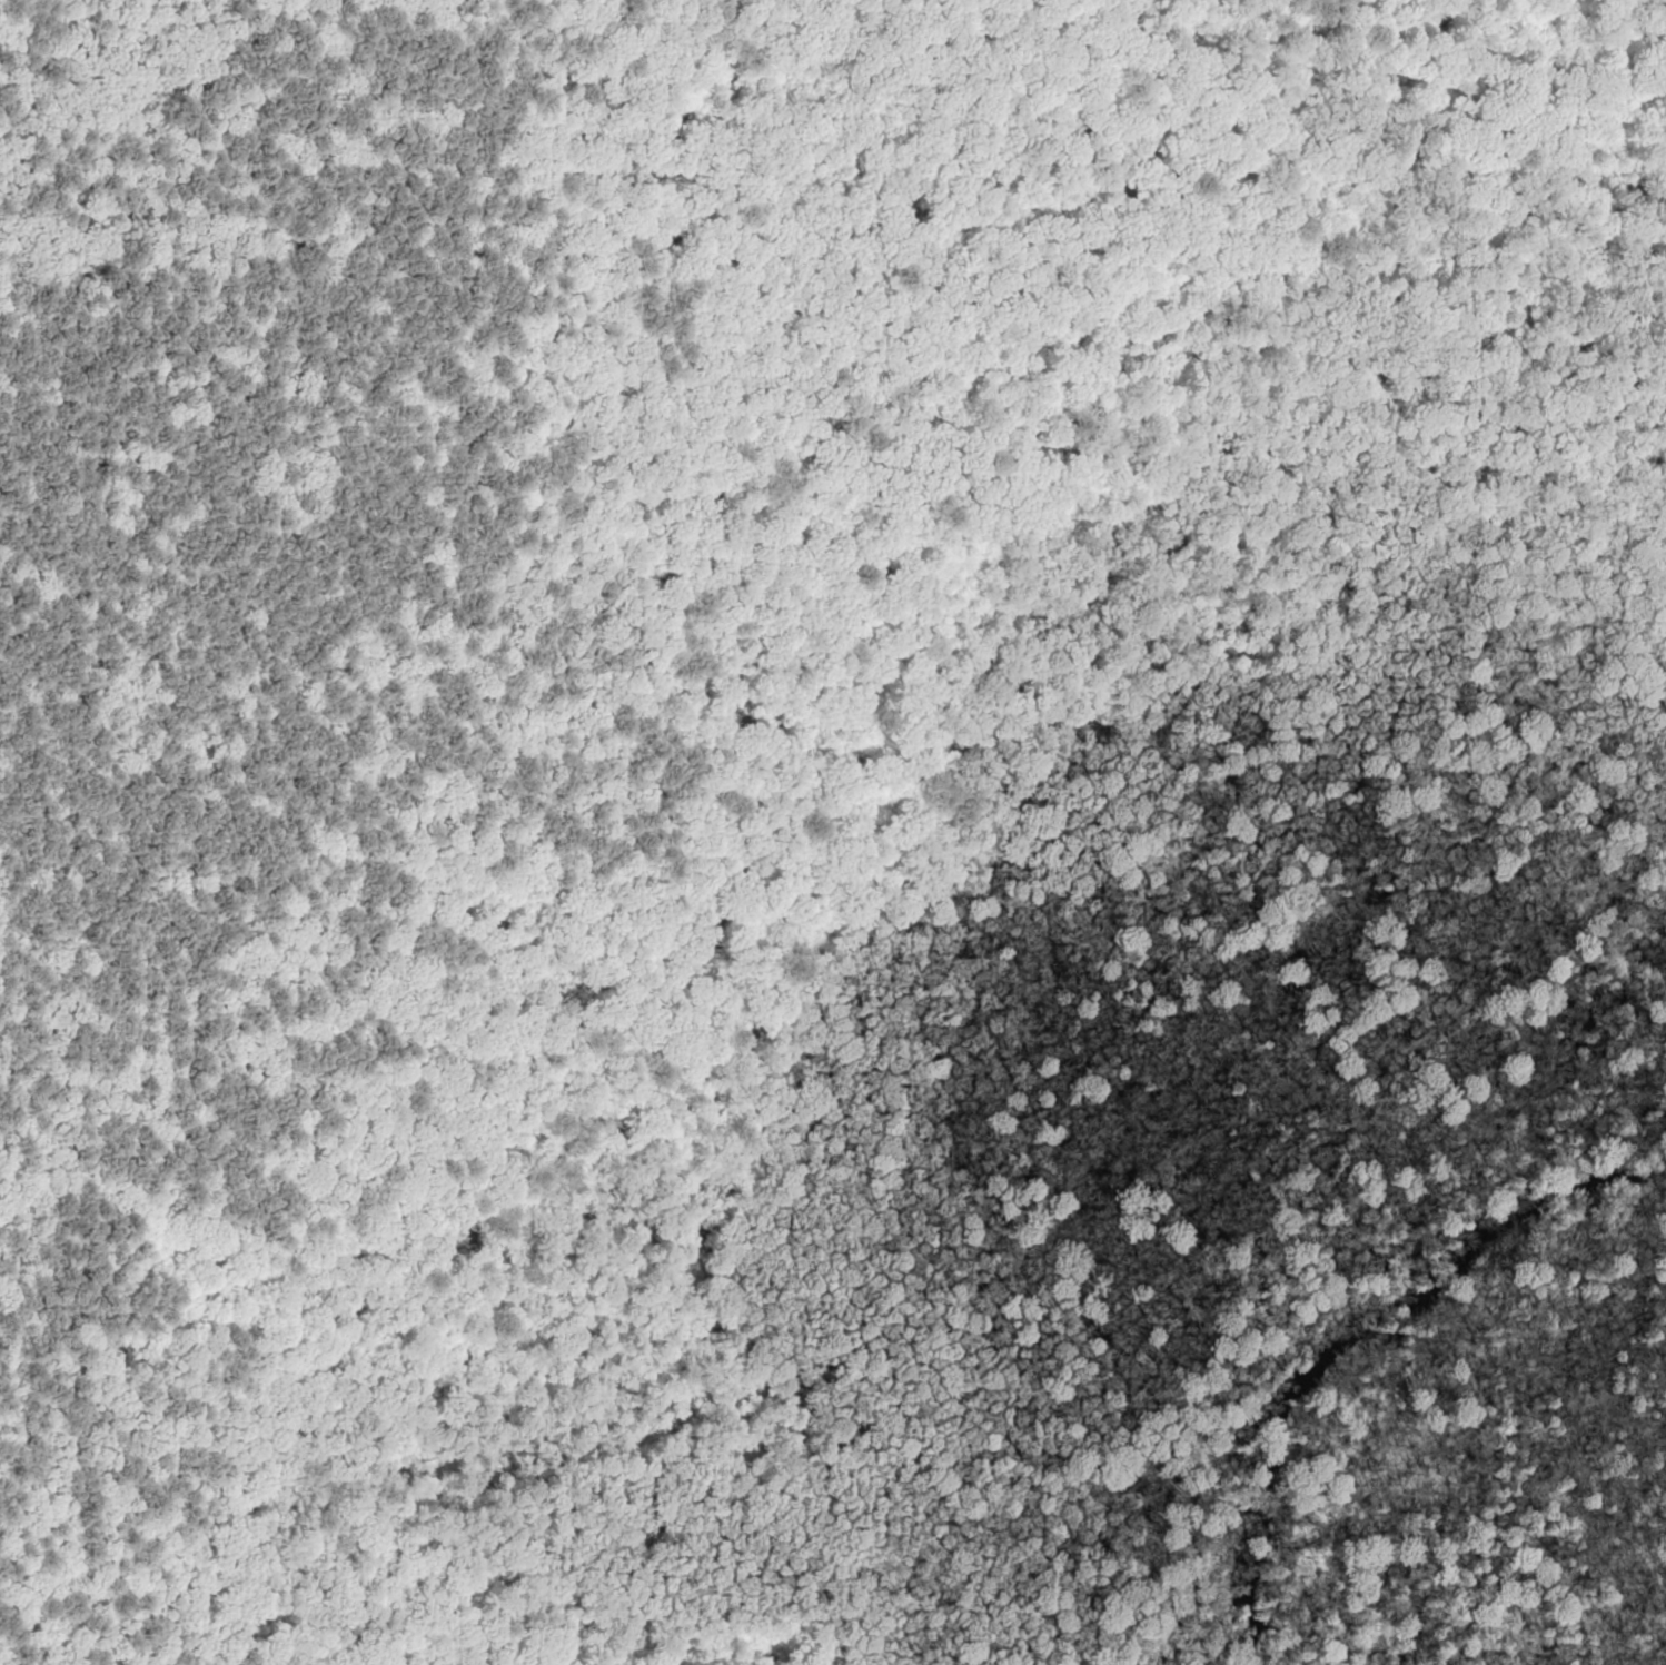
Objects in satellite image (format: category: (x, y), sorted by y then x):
road: (272, 755)
park: (833, 832)

